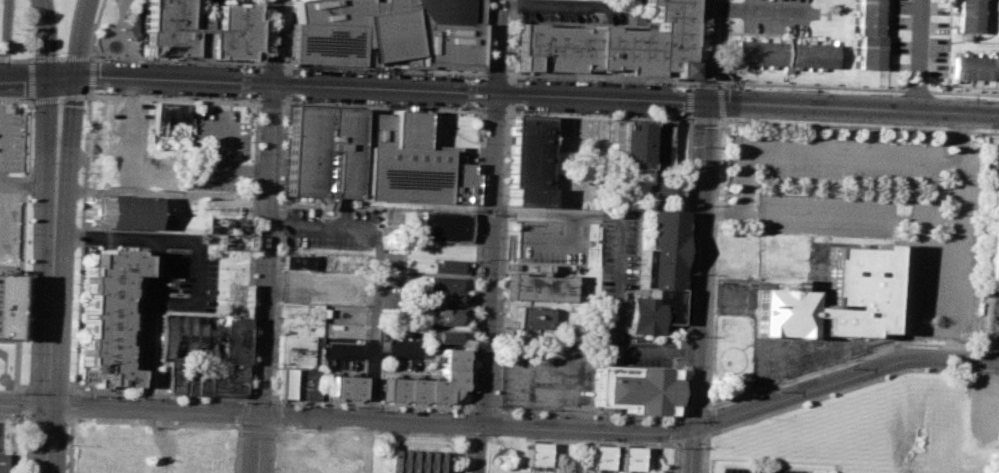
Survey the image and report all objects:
street lamp: (286, 1)
parking lot: (206, 2)
road: (562, 4)
parking lot: (574, 9)
road: (760, 10)
building: (969, 15)
park: (64, 23)
park: (22, 30)
park: (117, 31)
building: (199, 31)
road: (259, 31)
building: (388, 31)
street lamp: (12, 32)
road: (286, 32)
building: (869, 33)
road: (5, 35)
street lamp: (284, 35)
road: (47, 41)
road: (81, 42)
road: (273, 42)
road: (719, 43)
road: (888, 44)
building: (609, 45)
road: (948, 45)
road: (499, 46)
road: (706, 50)
street lamp: (57, 51)
building: (784, 52)
street lamp: (64, 53)
road: (92, 56)
road: (919, 56)
road: (78, 57)
road: (44, 58)
road: (61, 58)
road: (4, 59)
road: (21, 59)
street lamp: (103, 59)
street lamp: (145, 60)
street lamp: (174, 62)
street lamp: (207, 63)
street lamp: (239, 64)
road: (295, 64)
street lamp: (251, 65)
street lamp: (297, 66)
building: (975, 66)
street lamp: (310, 67)
street lamp: (334, 68)
street lamp: (357, 69)
street lamp: (381, 70)
road: (89, 74)
street lamp: (524, 76)
street lamp: (554, 77)
road: (603, 77)
road: (31, 79)
traffic signals: (62, 79)
street lamp: (588, 79)
road: (97, 80)
street lamp: (621, 80)
road: (691, 81)
road: (704, 81)
road: (202, 82)
street lamp: (654, 82)
street lamp: (684, 84)
road: (810, 85)
street lamp: (729, 86)
street lamp: (804, 89)
road: (916, 89)
road: (963, 91)
road: (488, 92)
street lamp: (882, 92)
street lamp: (98, 93)
street lamp: (116, 94)
street lamp: (155, 95)
road: (57, 96)
street lamp: (189, 96)
street lamp: (960, 96)
street lamp: (18, 97)
road: (15, 98)
road: (172, 98)
street lamp: (221, 98)
street lamp: (247, 98)
street lamp: (291, 99)
street lamp: (60, 100)
street lamp: (311, 100)
road: (271, 101)
street lamp: (340, 101)
road: (719, 101)
street lamp: (379, 103)
street lamp: (430, 105)
street lamp: (453, 107)
street lamp: (475, 107)
road: (851, 109)
street lamp: (511, 110)
street lamp: (542, 111)
street lamp: (83, 112)
street lamp: (568, 112)
street lamp: (603, 114)
street lamp: (633, 115)
street lamp: (504, 116)
street lamp: (666, 116)
building: (171, 124)
road: (857, 126)
road: (59, 131)
road: (454, 131)
street lamp: (81, 137)
road: (131, 137)
parking lot: (9, 139)
building: (635, 140)
road: (3, 141)
parking lot: (217, 148)
street lamp: (502, 150)
building: (321, 151)
road: (825, 157)
building: (527, 158)
building: (403, 160)
building: (657, 162)
street lamp: (31, 163)
street lamp: (502, 166)
parking lot: (994, 168)
road: (961, 169)
street lamp: (689, 170)
street lamp: (78, 171)
street lamp: (481, 172)
road: (29, 183)
building: (459, 183)
building: (663, 192)
road: (162, 194)
street lamp: (501, 194)
street lamp: (30, 205)
building: (122, 211)
parking lot: (877, 214)
street lamp: (76, 215)
road: (898, 220)
street lamp: (479, 223)
building: (229, 224)
building: (443, 225)
parking lot: (333, 227)
street lamp: (499, 228)
street lamp: (30, 233)
building: (232, 240)
parking lot: (552, 241)
road: (560, 241)
building: (992, 241)
street lamp: (478, 244)
street lamp: (499, 246)
road: (21, 251)
building: (446, 252)
street lamp: (74, 255)
road: (491, 257)
road: (617, 258)
building: (296, 262)
street lamp: (29, 263)
road: (713, 264)
building: (449, 266)
road: (376, 269)
road: (197, 272)
street lamp: (478, 272)
street lamp: (498, 272)
building: (657, 272)
street lamp: (685, 274)
road: (151, 275)
road: (264, 278)
building: (443, 282)
street lamp: (73, 283)
building: (539, 284)
road: (697, 287)
parking lot: (168, 288)
street lamp: (29, 292)
parking lot: (621, 292)
road: (915, 292)
building: (442, 298)
street lamp: (476, 298)
street lamp: (496, 298)
building: (834, 299)
building: (5, 304)
street lamp: (72, 310)
parking lot: (995, 312)
building: (532, 315)
building: (301, 317)
building: (447, 317)
building: (109, 318)
street lamp: (28, 322)
street lamp: (475, 324)
road: (52, 328)
street lamp: (71, 336)
building: (442, 336)
building: (201, 338)
road: (371, 348)
street lamp: (474, 349)
building: (295, 350)
parking lot: (406, 350)
street lamp: (495, 350)
street lamp: (27, 351)
parking lot: (341, 355)
park: (1, 358)
road: (851, 359)
street lamp: (364, 360)
street lamp: (69, 362)
street lamp: (26, 377)
street lamp: (494, 377)
building: (205, 378)
street lamp: (473, 378)
parking lot: (543, 379)
building: (283, 382)
building: (428, 382)
street lamp: (69, 383)
building: (303, 383)
building: (343, 386)
road: (850, 386)
building: (634, 389)
road: (158, 394)
street lamp: (277, 402)
street lamp: (301, 403)
street lamp: (328, 404)
street lamp: (472, 404)
street lamp: (492, 405)
street lamp: (349, 406)
road: (470, 406)
street lamp: (389, 407)
street lamp: (410, 408)
street lamp: (435, 409)
street lamp: (460, 411)
road: (240, 412)
road: (742, 412)
street lamp: (505, 413)
street lamp: (525, 413)
street lamp: (551, 414)
street lamp: (603, 417)
street lamp: (5, 418)
street lamp: (630, 418)
street lamp: (656, 419)
street lamp: (671, 420)
road: (707, 420)
street lamp: (125, 424)
road: (479, 447)
street lamp: (69, 448)
road: (706, 452)
building: (536, 455)
building: (601, 457)
building: (631, 459)
building: (415, 461)
building: (2, 463)
parking lot: (754, 470)

